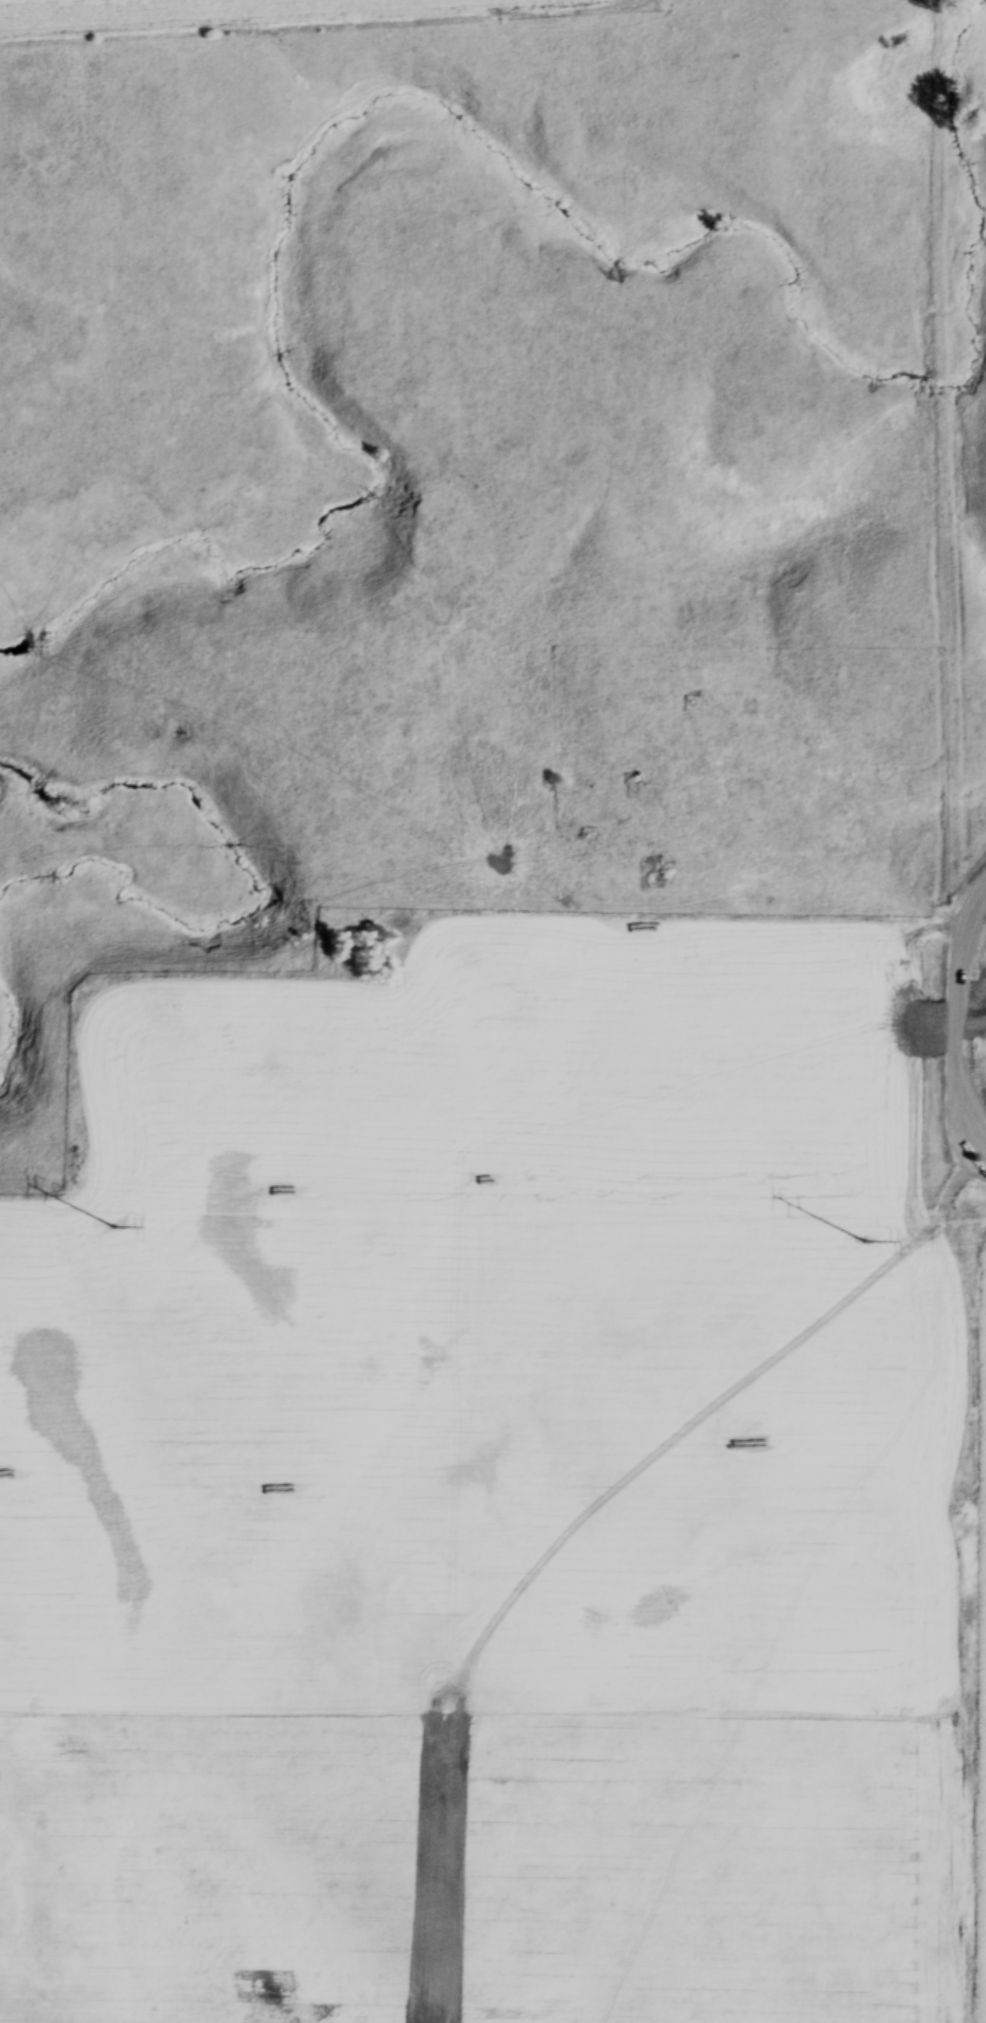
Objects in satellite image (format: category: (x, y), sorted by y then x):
building: (697, 700)
road: (954, 1026)
power tower: (114, 1223)
power tower: (864, 1238)

